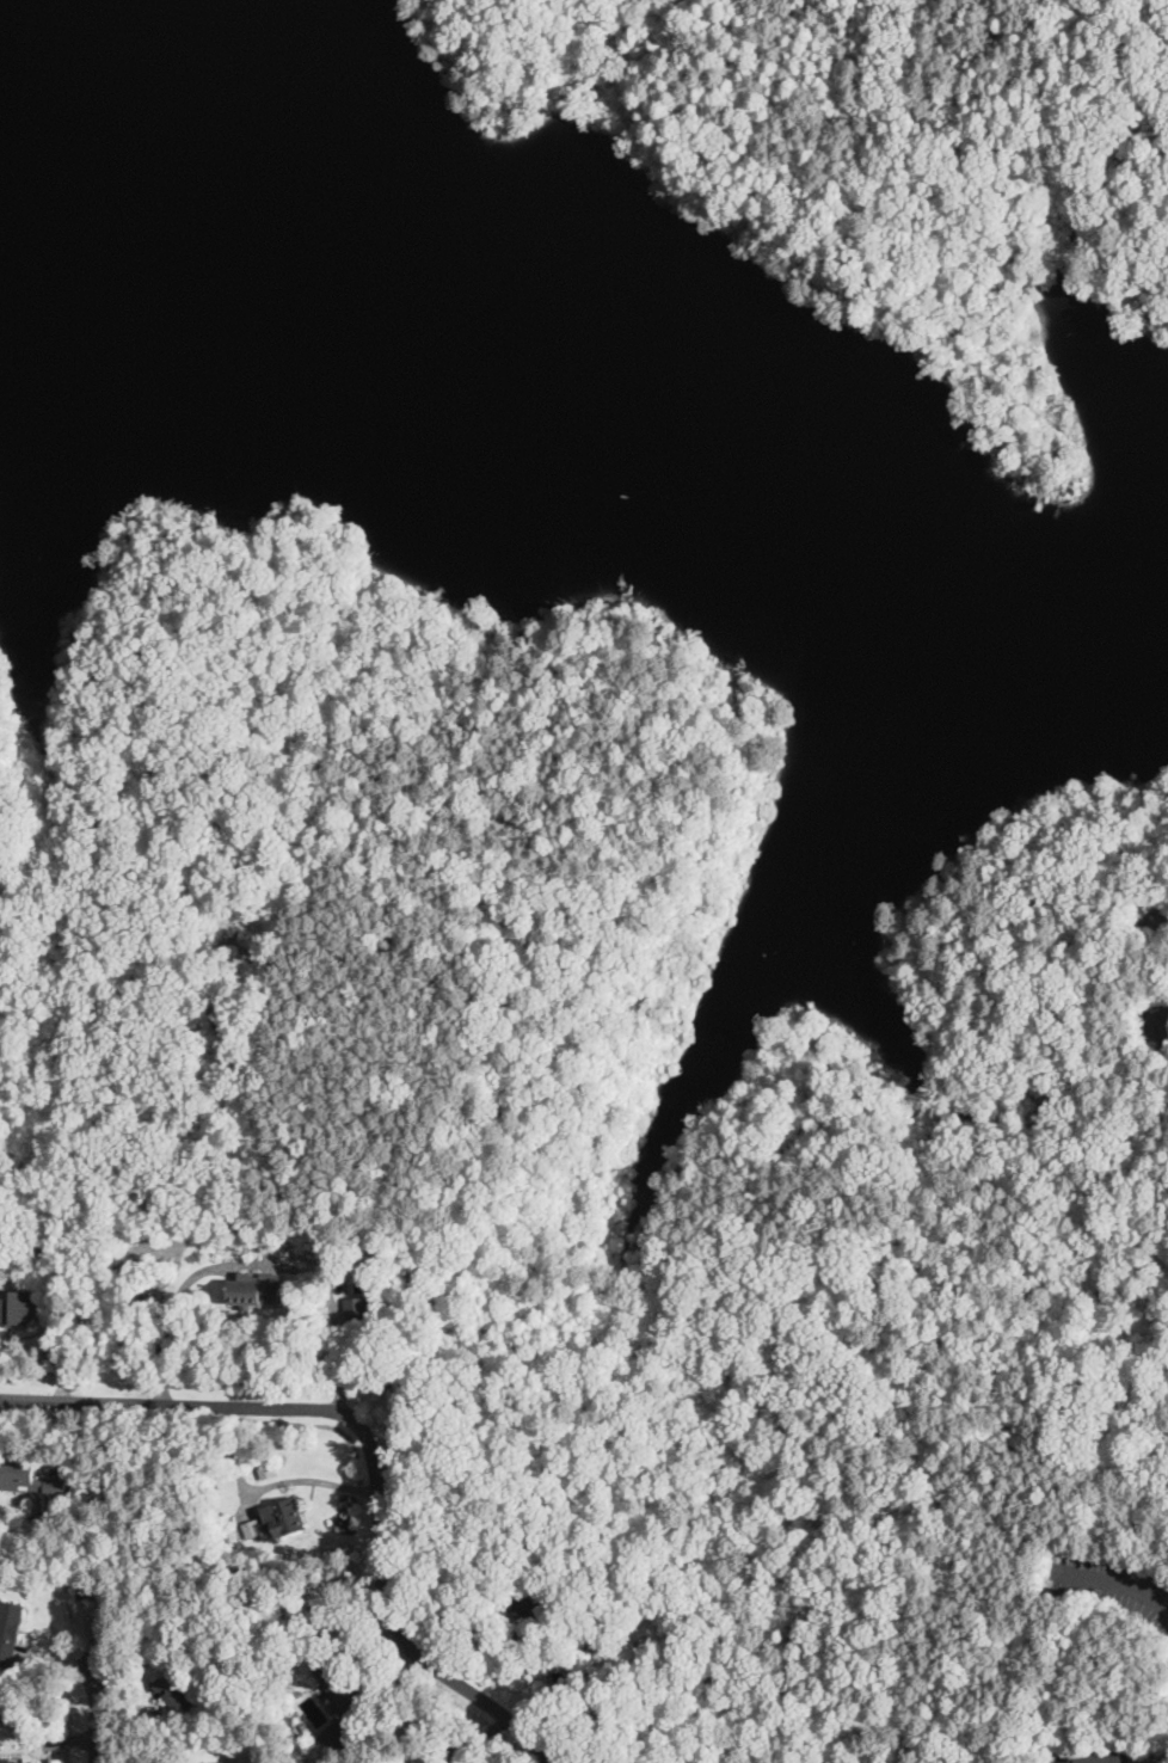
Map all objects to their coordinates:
road: (881, 207)
road: (632, 985)
road: (1151, 1020)
park: (614, 1096)
road: (332, 1297)
building: (16, 1306)
road: (172, 1316)
road: (55, 1347)
road: (209, 1406)
building: (31, 1480)
building: (276, 1519)
road: (1113, 1585)
parking lot: (1113, 1587)
building: (10, 1629)
road: (400, 1647)
building: (340, 1687)
building: (174, 1690)
road: (103, 1694)
building: (1101, 1757)
building: (11, 1759)

